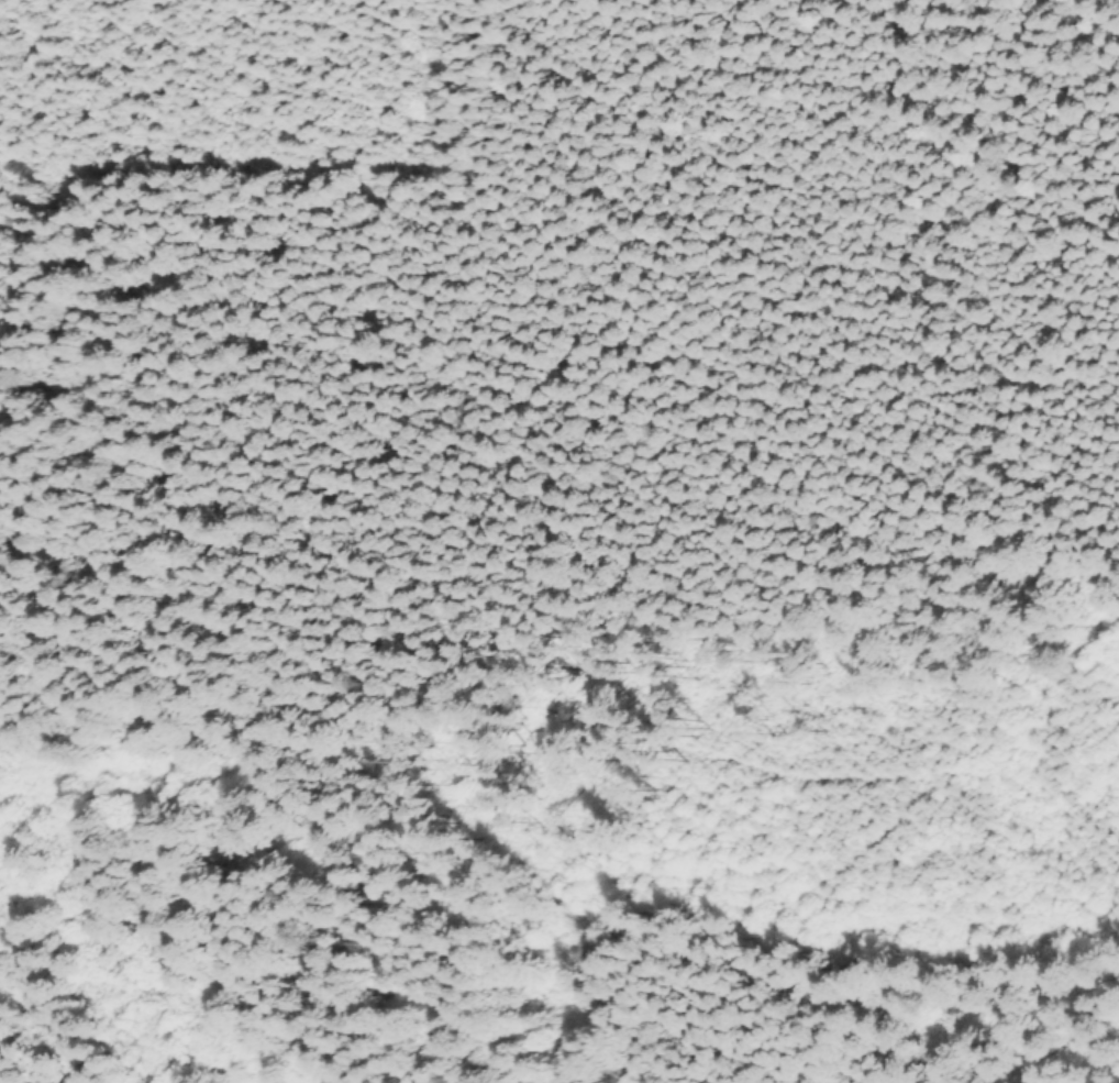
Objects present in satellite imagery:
road: (649, 730)
road: (236, 1024)
road: (1075, 1041)

